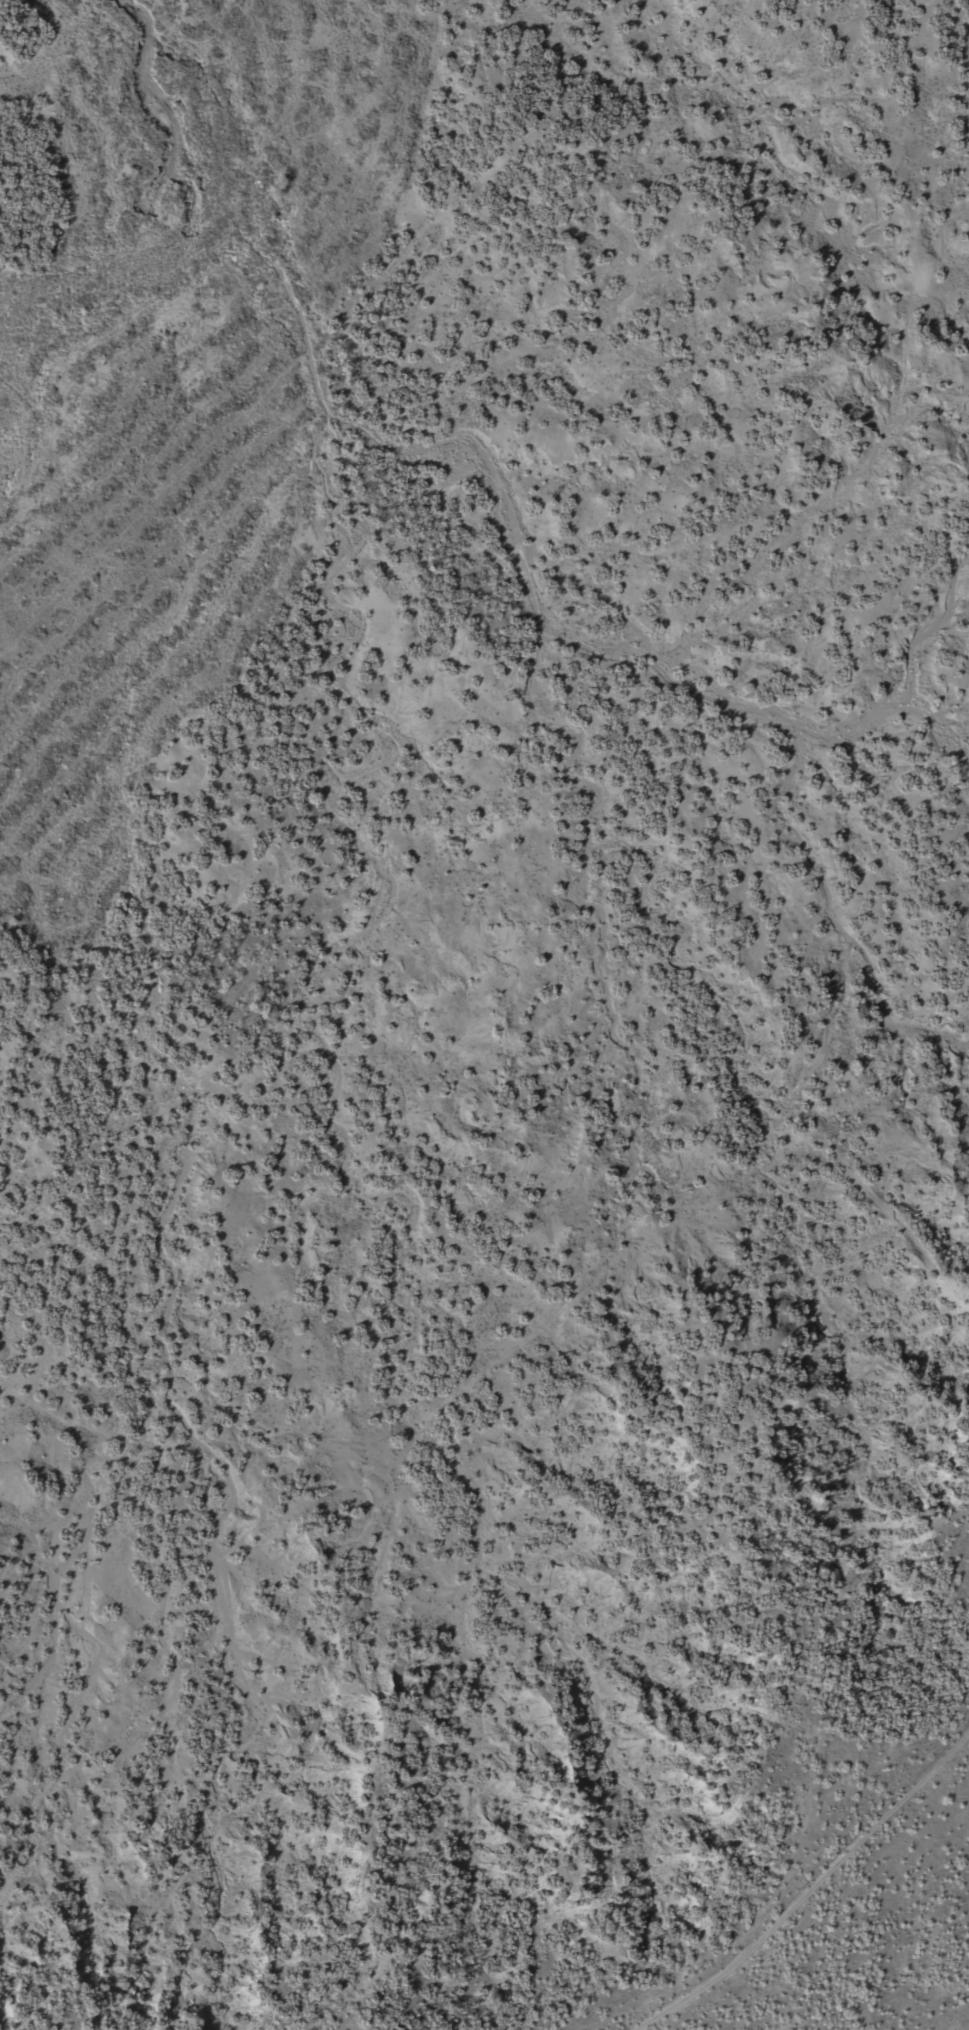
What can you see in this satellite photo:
road: (917, 2003)

